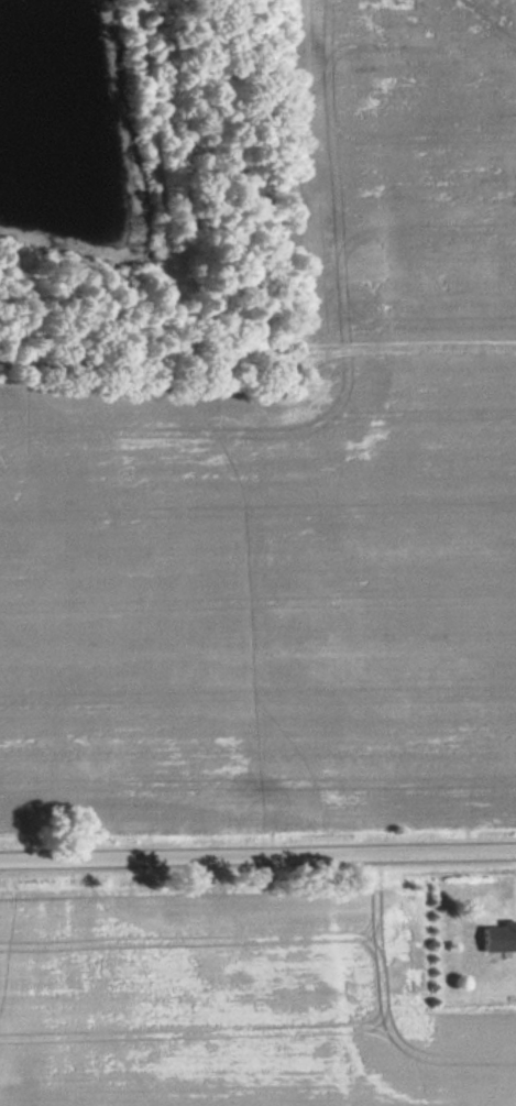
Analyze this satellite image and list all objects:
road: (257, 851)
building: (496, 939)

